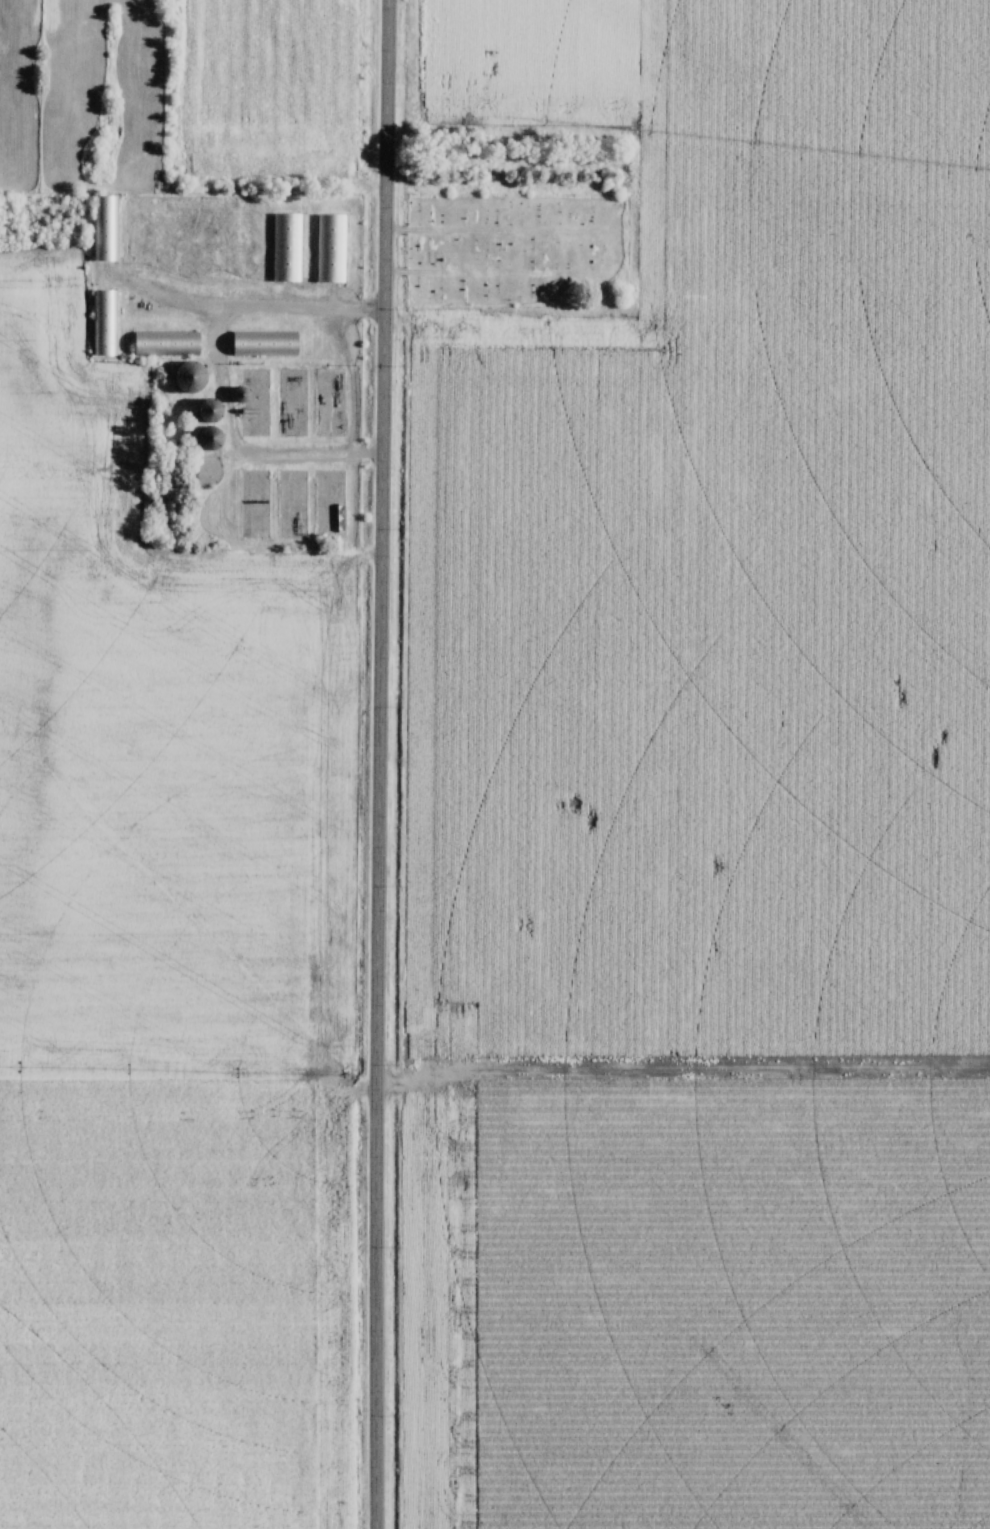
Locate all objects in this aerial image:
crop: (269, 90)
building: (105, 227)
building: (286, 245)
building: (330, 246)
road: (249, 310)
building: (103, 322)
building: (167, 342)
building: (267, 344)
building: (190, 378)
building: (212, 411)
building: (212, 439)
road: (383, 764)
crop: (711, 793)
crop: (162, 978)

